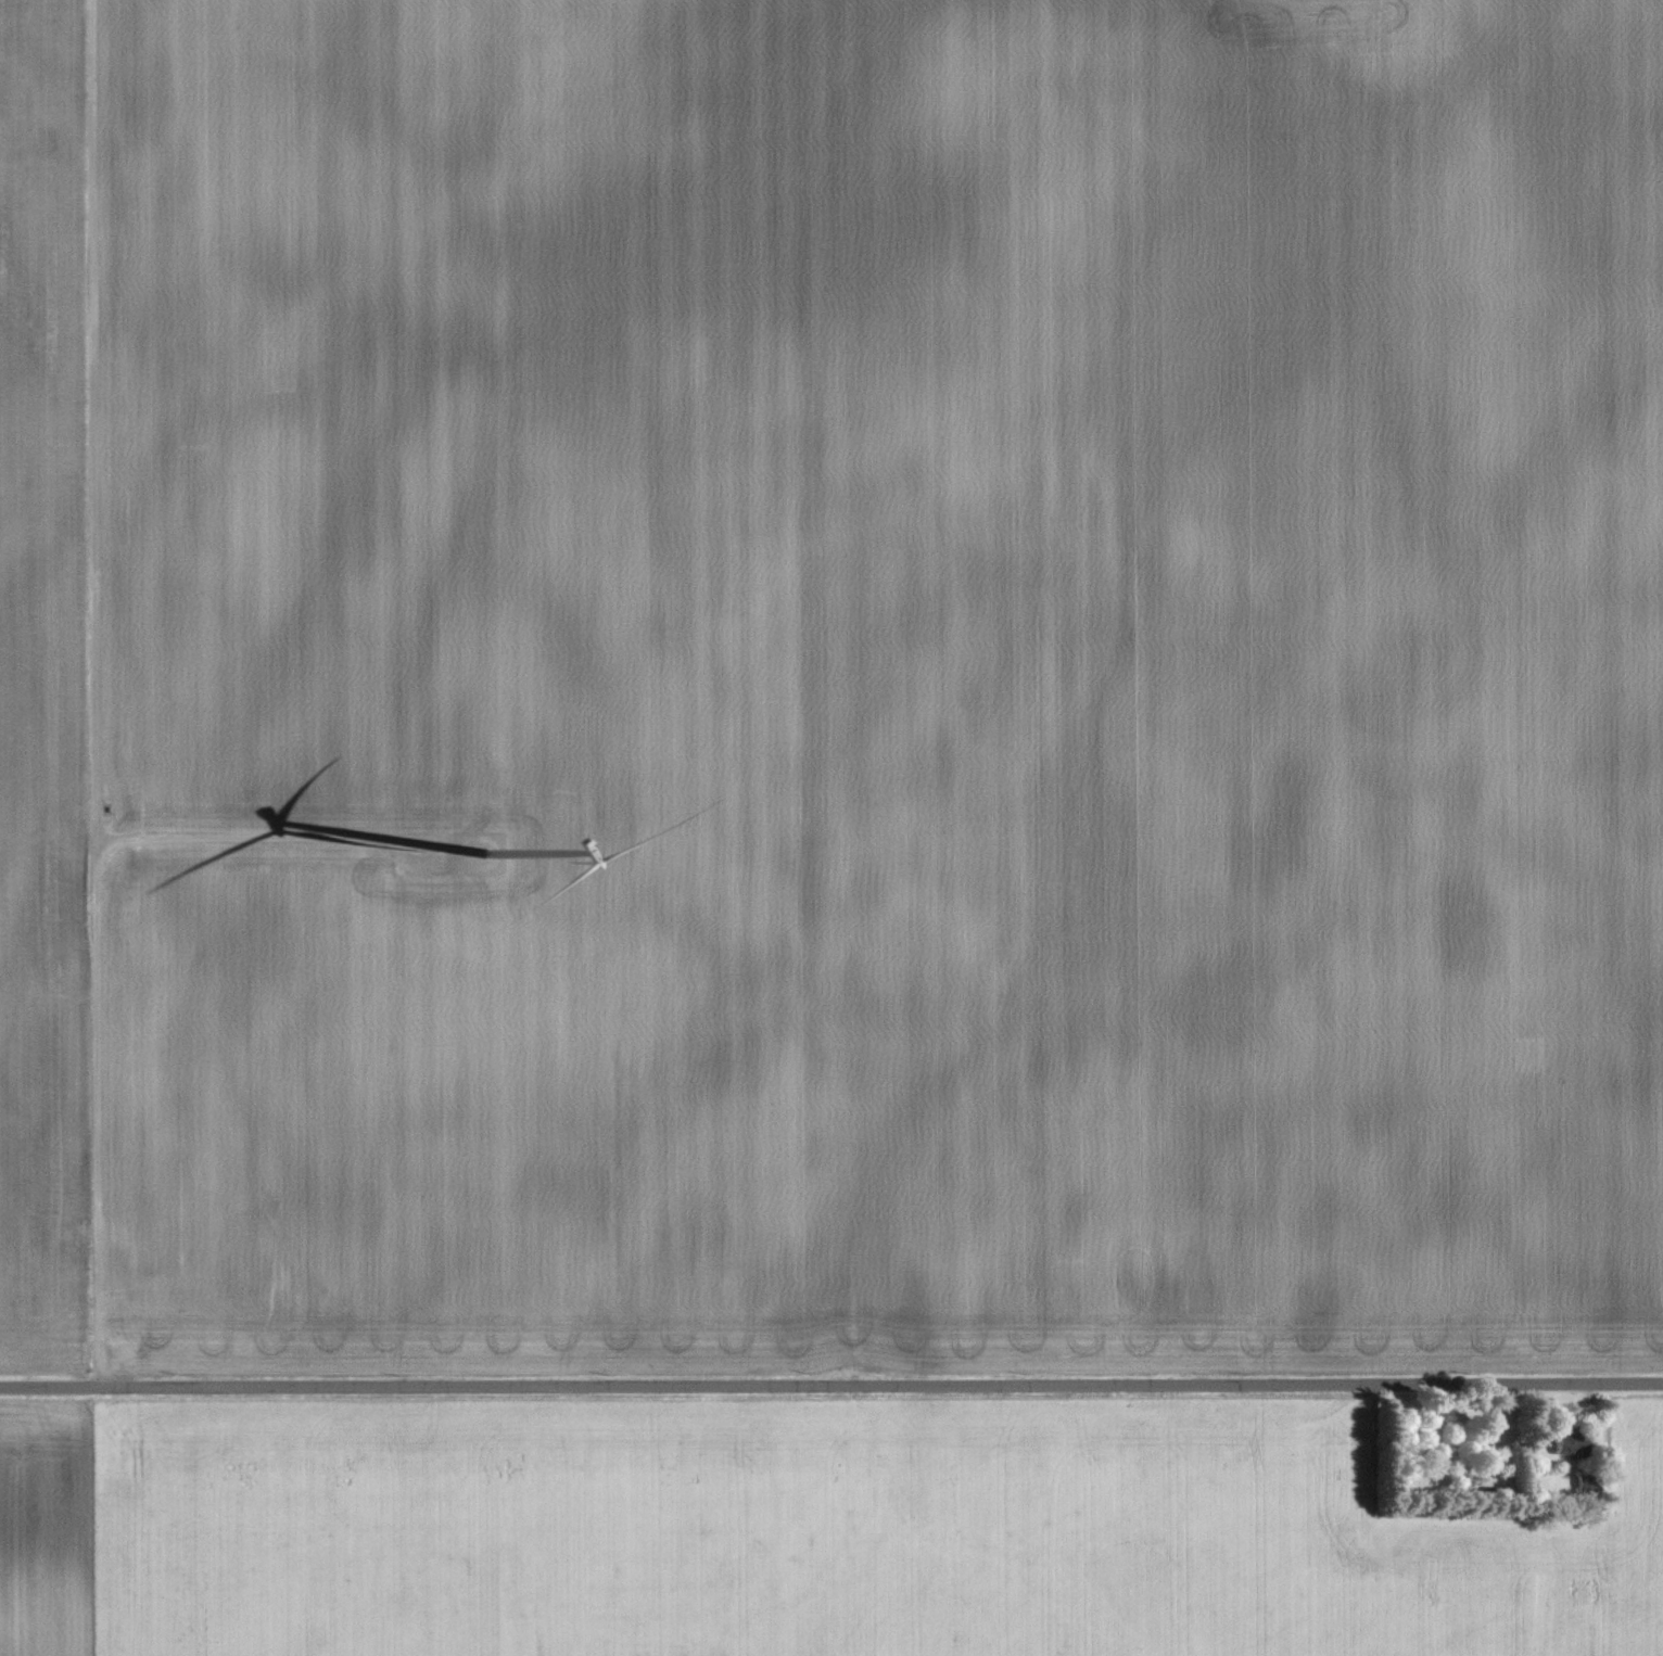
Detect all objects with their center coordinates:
wind turbine: (484, 851)
road: (830, 1384)
building: (1558, 1441)

